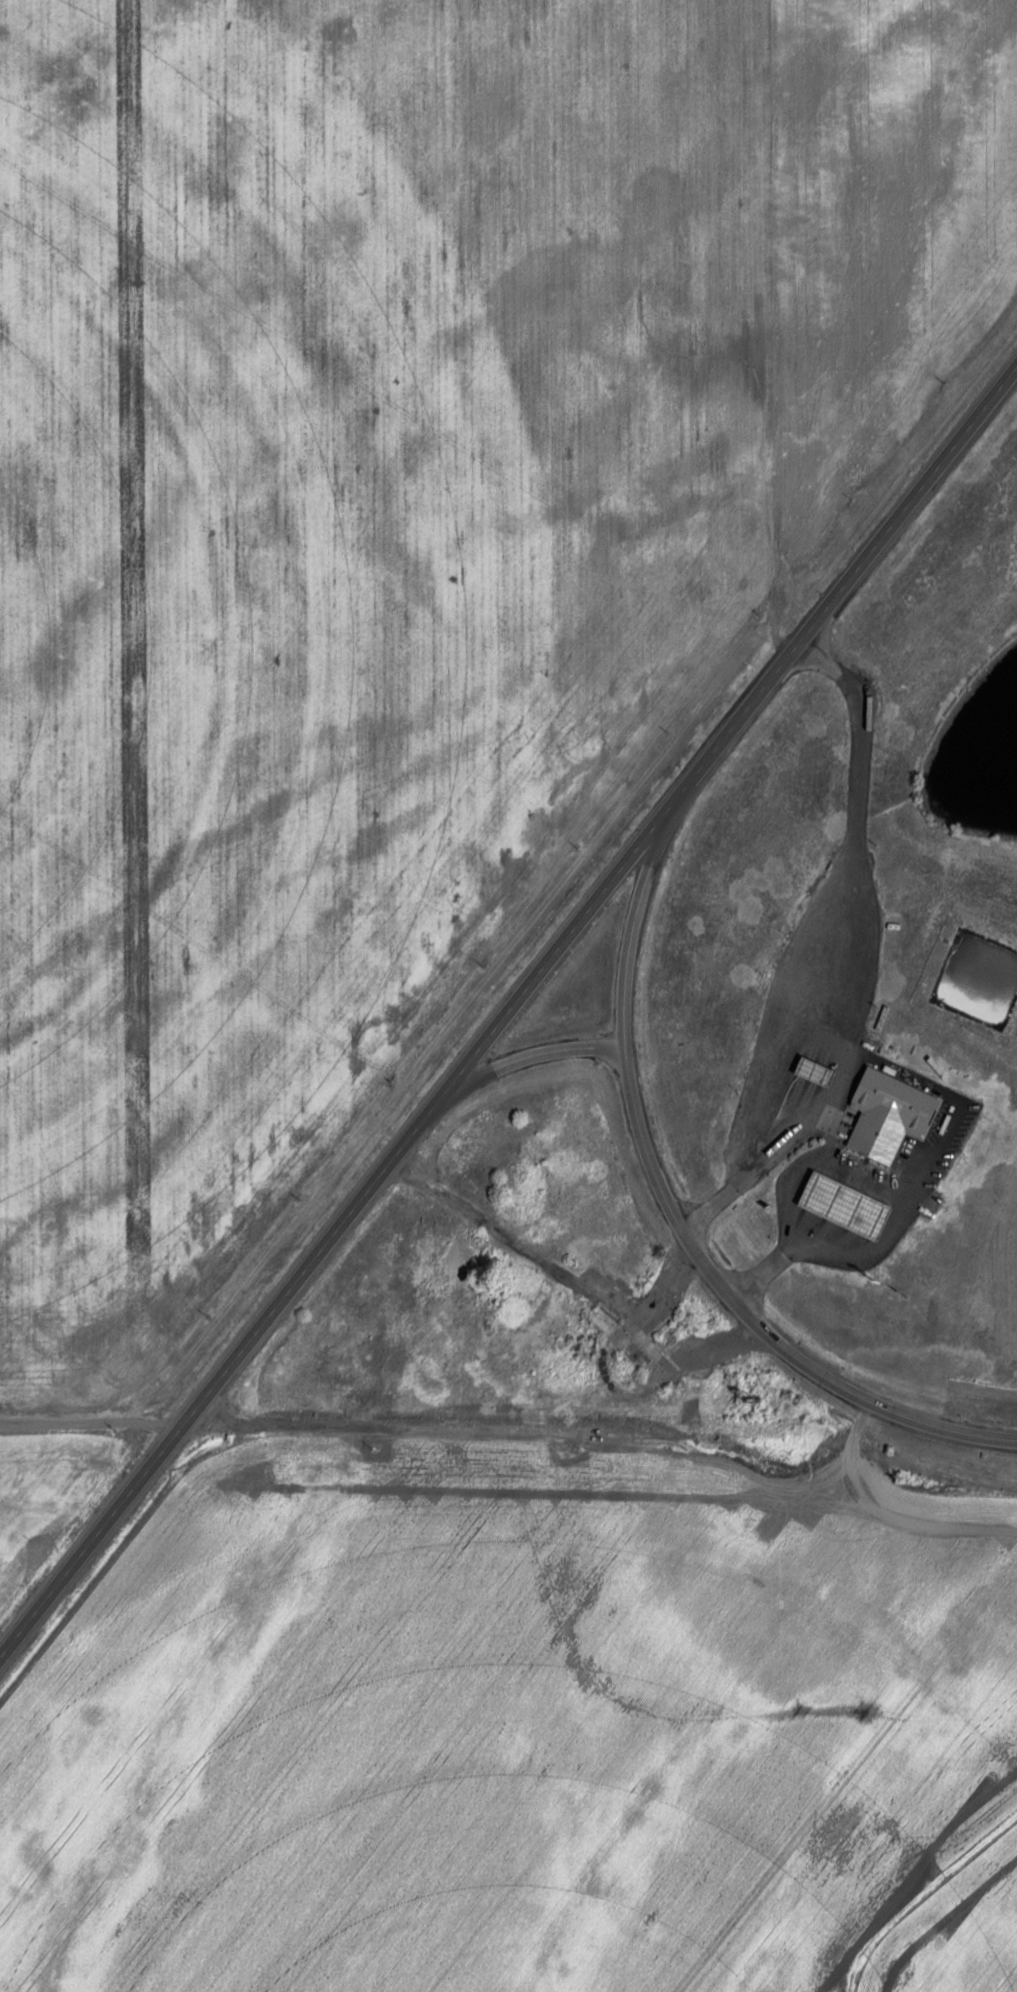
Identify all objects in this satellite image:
road: (817, 935)
road: (509, 1014)
road: (537, 1054)
building: (810, 1071)
building: (885, 1114)
road: (931, 1161)
building: (836, 1202)
road: (677, 1206)
road: (552, 1262)

